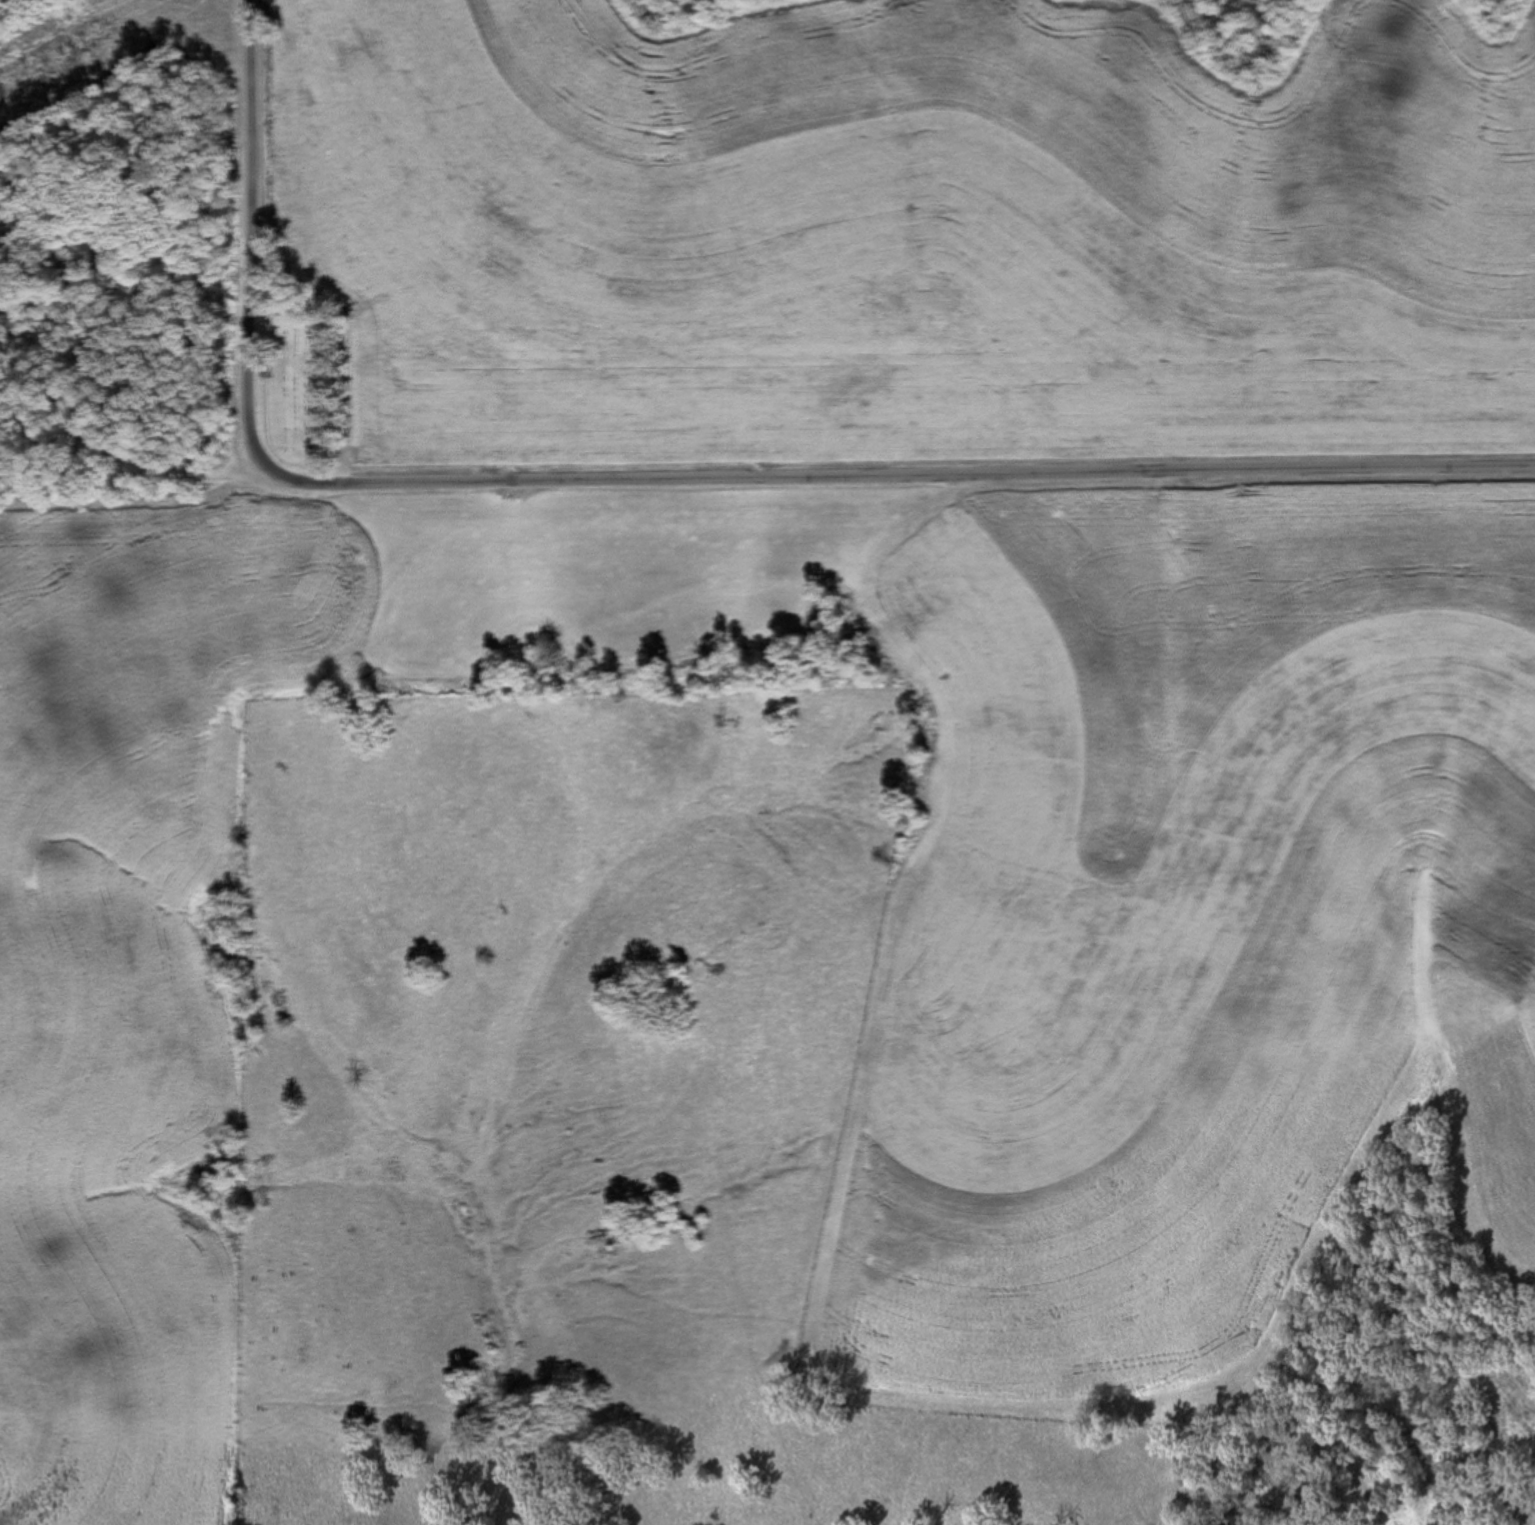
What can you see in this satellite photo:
road: (256, 232)
road: (899, 475)
road: (152, 503)

